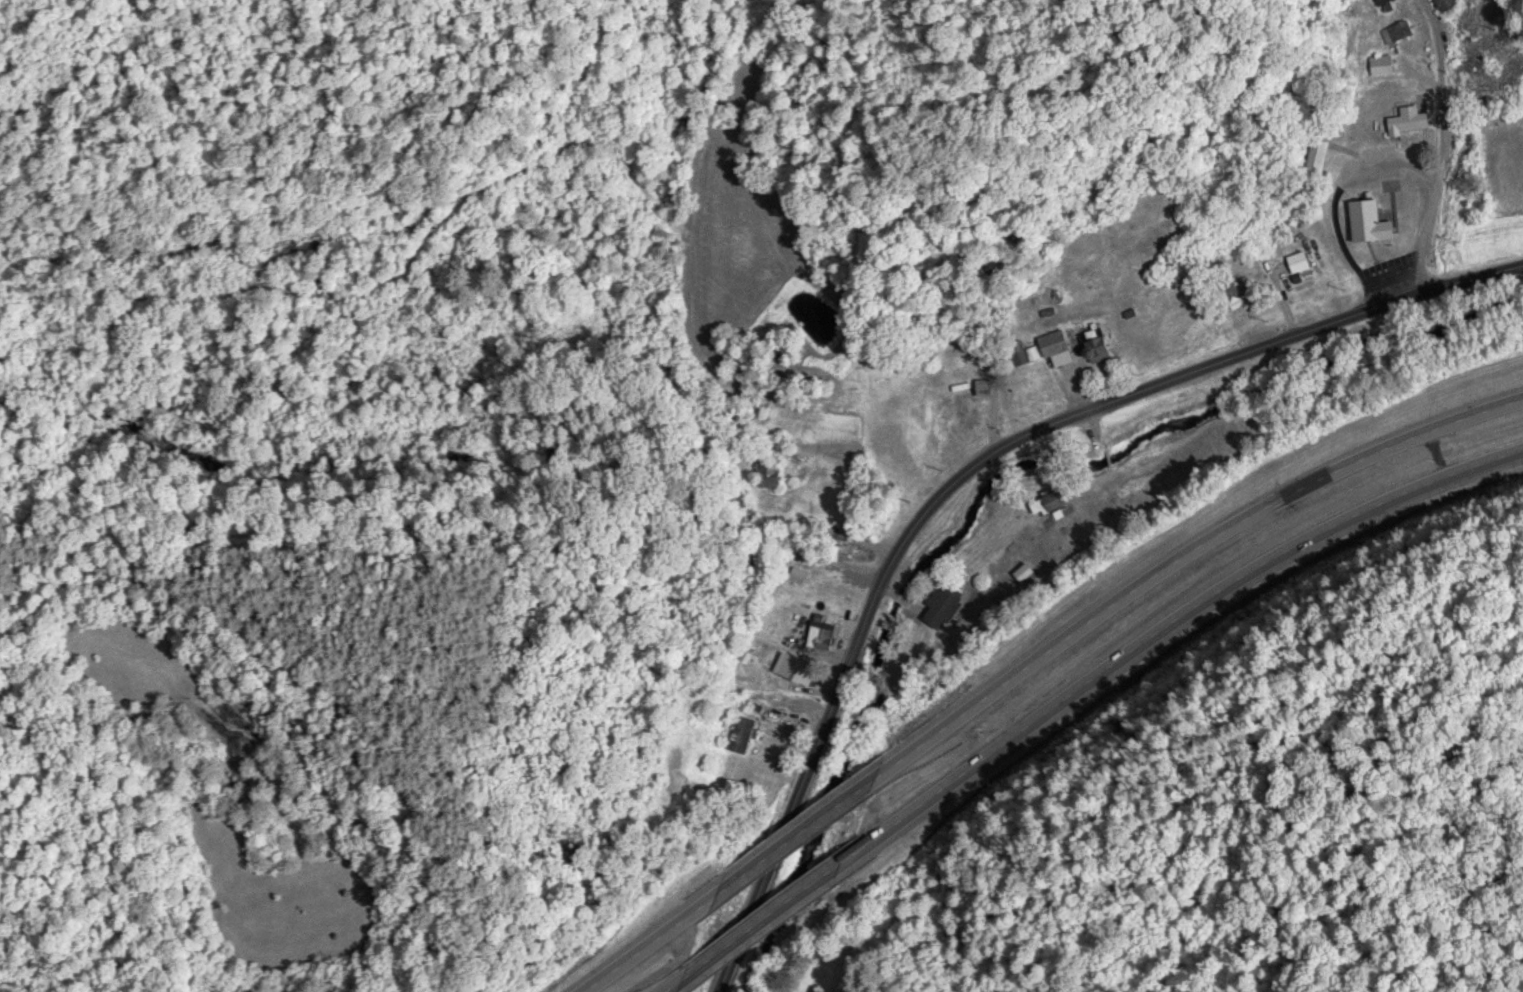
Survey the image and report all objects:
building: (1384, 1)
building: (1450, 4)
building: (1401, 31)
building: (1386, 64)
building: (1414, 119)
road: (1440, 144)
building: (1377, 221)
building: (1301, 260)
building: (1056, 343)
building: (1099, 346)
building: (1027, 354)
building: (987, 387)
road: (972, 468)
building: (774, 473)
building: (1049, 503)
road: (1190, 543)
road: (1190, 610)
building: (825, 632)
building: (799, 668)
building: (745, 733)
road: (808, 827)
road: (803, 896)
road: (651, 943)
road: (691, 977)
building: (816, 990)

